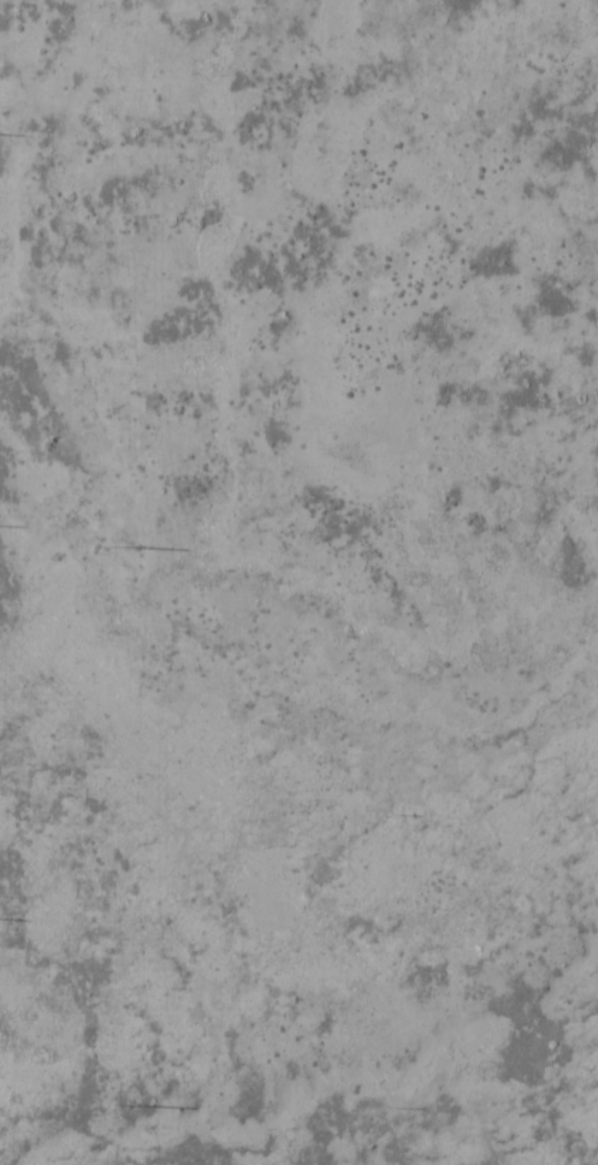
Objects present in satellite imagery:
power tower: (119, 545)
power tower: (119, 1105)

